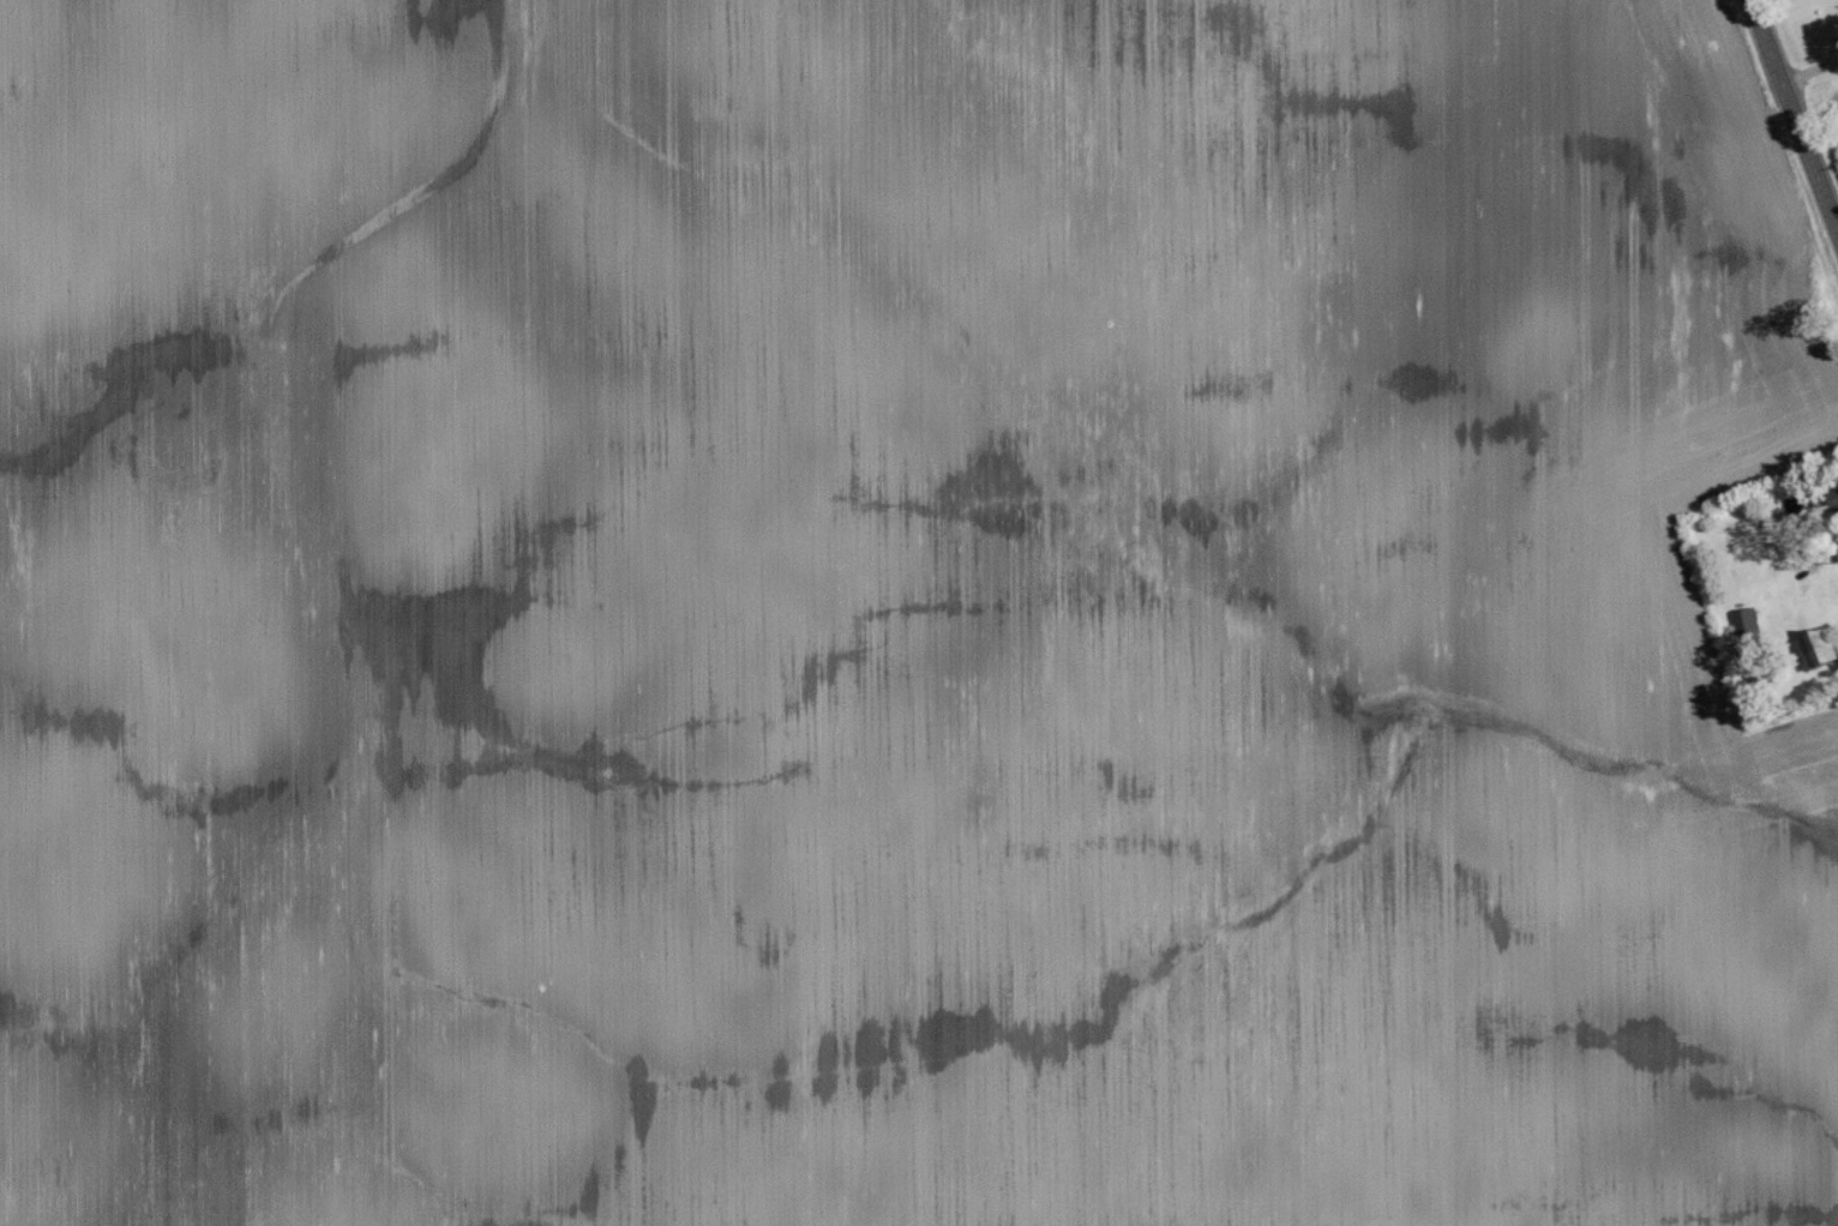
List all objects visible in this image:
road: (1809, 68)
road: (1794, 114)
building: (1837, 493)
building: (1750, 626)
building: (1822, 649)

